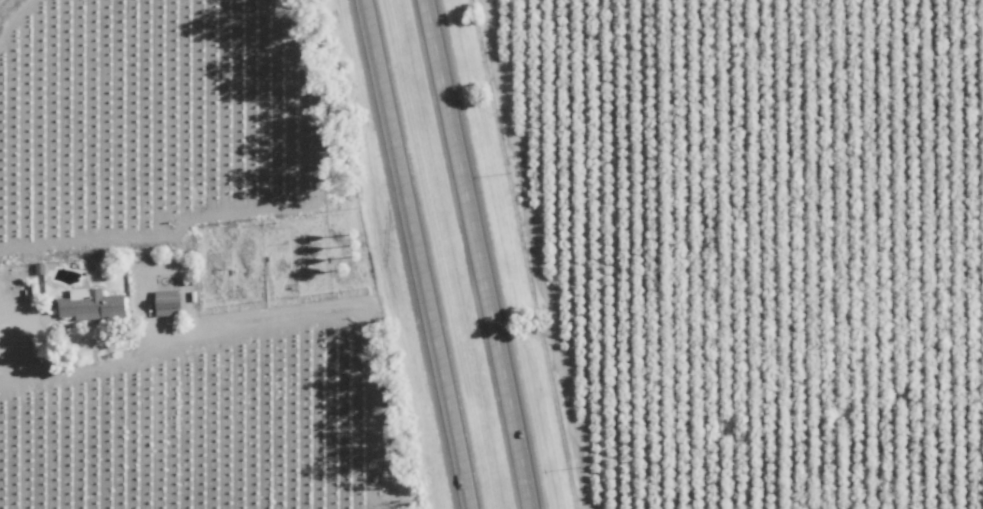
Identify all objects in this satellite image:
road: (8, 10)
road: (422, 254)
road: (485, 254)
building: (91, 304)
road: (213, 336)
road: (792, 420)

